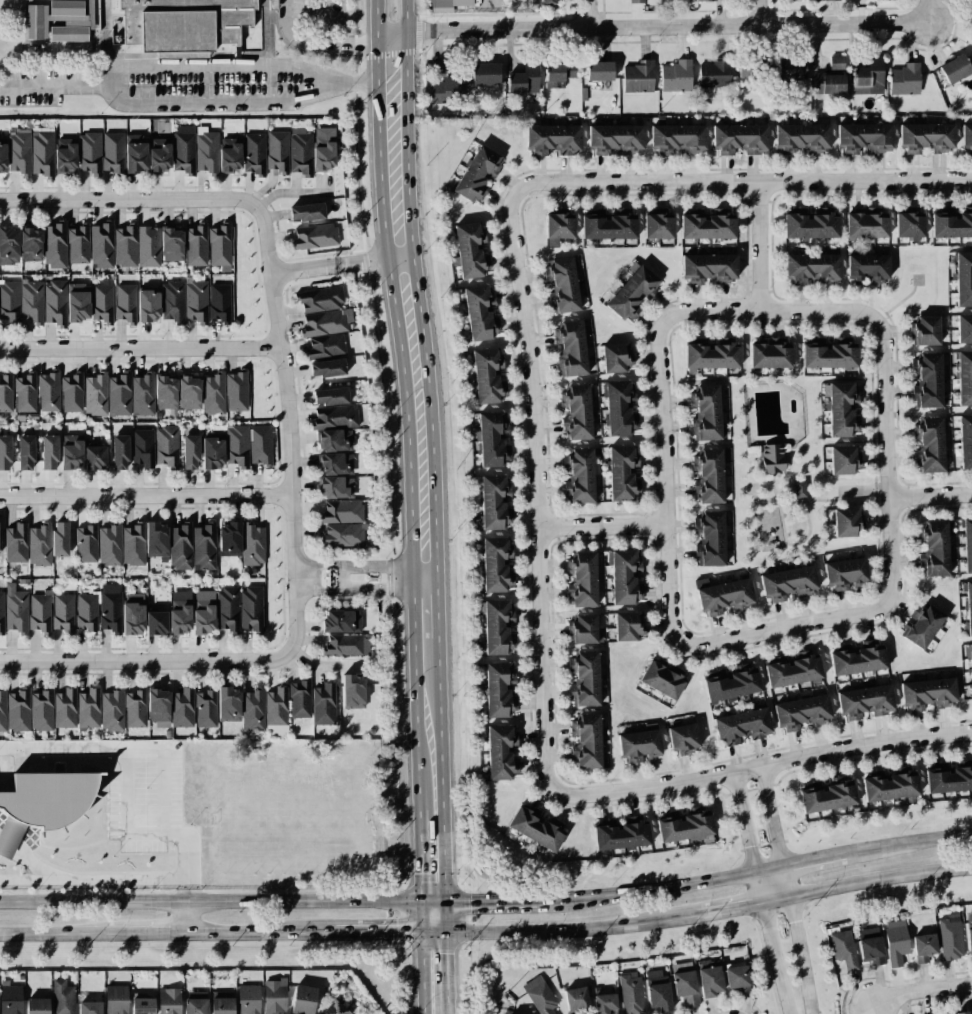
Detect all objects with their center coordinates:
building: (542, 0)
building: (705, 0)
building: (832, 0)
building: (874, 0)
building: (636, 1)
building: (273, 4)
building: (447, 5)
road: (926, 6)
road: (759, 12)
road: (589, 13)
building: (971, 17)
building: (60, 20)
road: (325, 20)
building: (179, 22)
road: (649, 25)
road: (108, 32)
road: (315, 39)
road: (375, 41)
road: (405, 41)
building: (836, 62)
road: (139, 64)
building: (791, 68)
building: (955, 69)
building: (599, 71)
building: (753, 71)
building: (558, 73)
building: (714, 73)
building: (485, 74)
building: (677, 76)
building: (638, 77)
building: (868, 77)
building: (524, 79)
building: (904, 79)
road: (357, 83)
building: (828, 83)
road: (55, 86)
building: (864, 137)
building: (926, 137)
building: (802, 138)
building: (553, 139)
building: (615, 139)
building: (677, 139)
building: (740, 139)
building: (967, 139)
building: (184, 148)
building: (324, 148)
building: (19, 151)
building: (277, 151)
building: (300, 151)
building: (89, 152)
building: (112, 152)
building: (206, 152)
building: (42, 153)
building: (136, 153)
building: (254, 153)
building: (65, 155)
building: (159, 155)
building: (229, 155)
building: (2, 157)
building: (477, 173)
road: (740, 183)
road: (126, 201)
building: (306, 212)
building: (950, 223)
building: (866, 224)
building: (607, 225)
building: (809, 225)
building: (909, 225)
building: (658, 226)
building: (706, 226)
building: (558, 228)
building: (314, 236)
building: (31, 244)
building: (55, 244)
building: (79, 244)
building: (102, 244)
building: (171, 244)
building: (219, 244)
building: (9, 245)
building: (136, 245)
building: (196, 245)
road: (757, 247)
building: (470, 250)
road: (397, 257)
road: (327, 266)
building: (709, 268)
building: (811, 268)
building: (868, 268)
building: (963, 279)
building: (562, 285)
building: (632, 291)
building: (320, 299)
building: (9, 301)
building: (31, 301)
building: (172, 301)
building: (196, 301)
building: (54, 302)
building: (78, 302)
building: (102, 302)
building: (219, 302)
building: (124, 303)
building: (148, 305)
road: (765, 311)
building: (479, 312)
building: (325, 322)
building: (964, 328)
road: (420, 331)
building: (925, 331)
building: (326, 346)
road: (140, 349)
building: (571, 349)
building: (827, 354)
building: (710, 355)
building: (770, 355)
building: (615, 357)
building: (327, 368)
building: (487, 376)
building: (964, 377)
building: (927, 380)
building: (236, 390)
building: (49, 391)
building: (165, 391)
building: (6, 392)
building: (25, 392)
building: (189, 392)
building: (72, 393)
building: (213, 393)
building: (96, 394)
building: (119, 394)
building: (142, 394)
building: (330, 396)
building: (620, 408)
building: (842, 409)
building: (577, 411)
building: (705, 413)
building: (335, 417)
road: (289, 427)
building: (492, 439)
building: (335, 440)
building: (965, 440)
building: (929, 444)
building: (166, 445)
building: (237, 445)
building: (260, 445)
road: (401, 446)
building: (143, 448)
building: (71, 451)
building: (5, 452)
building: (25, 452)
building: (49, 452)
building: (119, 452)
building: (190, 452)
building: (212, 452)
building: (95, 458)
building: (772, 458)
building: (844, 459)
road: (883, 460)
building: (336, 463)
building: (623, 473)
building: (579, 475)
building: (709, 475)
road: (661, 480)
building: (337, 487)
building: (800, 488)
road: (928, 496)
road: (534, 497)
road: (146, 498)
building: (494, 502)
building: (342, 511)
building: (846, 521)
road: (599, 527)
building: (343, 534)
building: (60, 538)
building: (229, 539)
building: (710, 539)
building: (156, 540)
building: (16, 543)
building: (86, 543)
building: (967, 543)
building: (39, 544)
building: (252, 544)
building: (110, 545)
building: (132, 545)
building: (180, 546)
building: (204, 546)
building: (934, 548)
building: (496, 564)
building: (845, 572)
building: (625, 577)
road: (434, 578)
building: (582, 579)
building: (787, 583)
building: (724, 596)
building: (968, 606)
building: (109, 608)
building: (16, 609)
building: (228, 609)
building: (251, 609)
building: (1, 611)
building: (40, 611)
building: (203, 611)
building: (86, 612)
building: (63, 613)
building: (133, 613)
building: (180, 613)
building: (341, 621)
building: (156, 623)
building: (627, 626)
building: (923, 626)
building: (497, 627)
road: (779, 628)
building: (582, 629)
road: (436, 635)
building: (348, 644)
building: (857, 659)
road: (147, 663)
road: (320, 663)
building: (970, 667)
building: (793, 671)
building: (584, 679)
building: (663, 679)
building: (731, 684)
building: (499, 689)
building: (352, 691)
building: (928, 694)
building: (300, 698)
building: (865, 701)
building: (228, 704)
building: (323, 704)
building: (158, 707)
building: (182, 707)
building: (65, 708)
building: (89, 708)
building: (135, 708)
building: (205, 708)
building: (253, 709)
building: (3, 710)
building: (18, 710)
building: (41, 710)
building: (111, 710)
building: (801, 712)
building: (276, 713)
building: (741, 726)
building: (684, 738)
building: (587, 739)
building: (639, 746)
building: (501, 751)
road: (766, 765)
building: (947, 778)
building: (889, 785)
building: (826, 796)
road: (440, 797)
building: (42, 804)
road: (770, 817)
road: (743, 821)
road: (413, 823)
building: (683, 825)
building: (536, 826)
road: (157, 835)
building: (620, 835)
road: (910, 843)
road: (814, 859)
road: (413, 870)
road: (865, 881)
road: (186, 888)
road: (649, 891)
road: (221, 902)
traffic signals: (443, 903)
traffic signals: (414, 904)
road: (480, 904)
road: (730, 909)
road: (188, 917)
road: (414, 918)
road: (443, 918)
road: (571, 929)
building: (969, 931)
road: (384, 932)
traffic signals: (414, 932)
road: (429, 932)
road: (177, 933)
traffic signals: (444, 933)
building: (950, 937)
road: (796, 940)
building: (895, 941)
road: (769, 942)
building: (870, 946)
building: (923, 947)
building: (843, 948)
road: (445, 963)
building: (707, 963)
building: (681, 967)
road: (415, 973)
building: (737, 976)
building: (710, 981)
building: (685, 987)
building: (657, 990)
road: (919, 990)
building: (630, 993)
building: (540, 995)
building: (274, 996)
building: (62, 997)
building: (10, 998)
building: (116, 999)
building: (248, 999)
building: (303, 999)
building: (575, 999)
building: (169, 1001)
building: (195, 1002)
building: (604, 1003)
road: (446, 1004)
building: (142, 1005)
building: (222, 1005)
building: (37, 1006)
building: (90, 1007)
building: (334, 1008)
building: (962, 1012)

